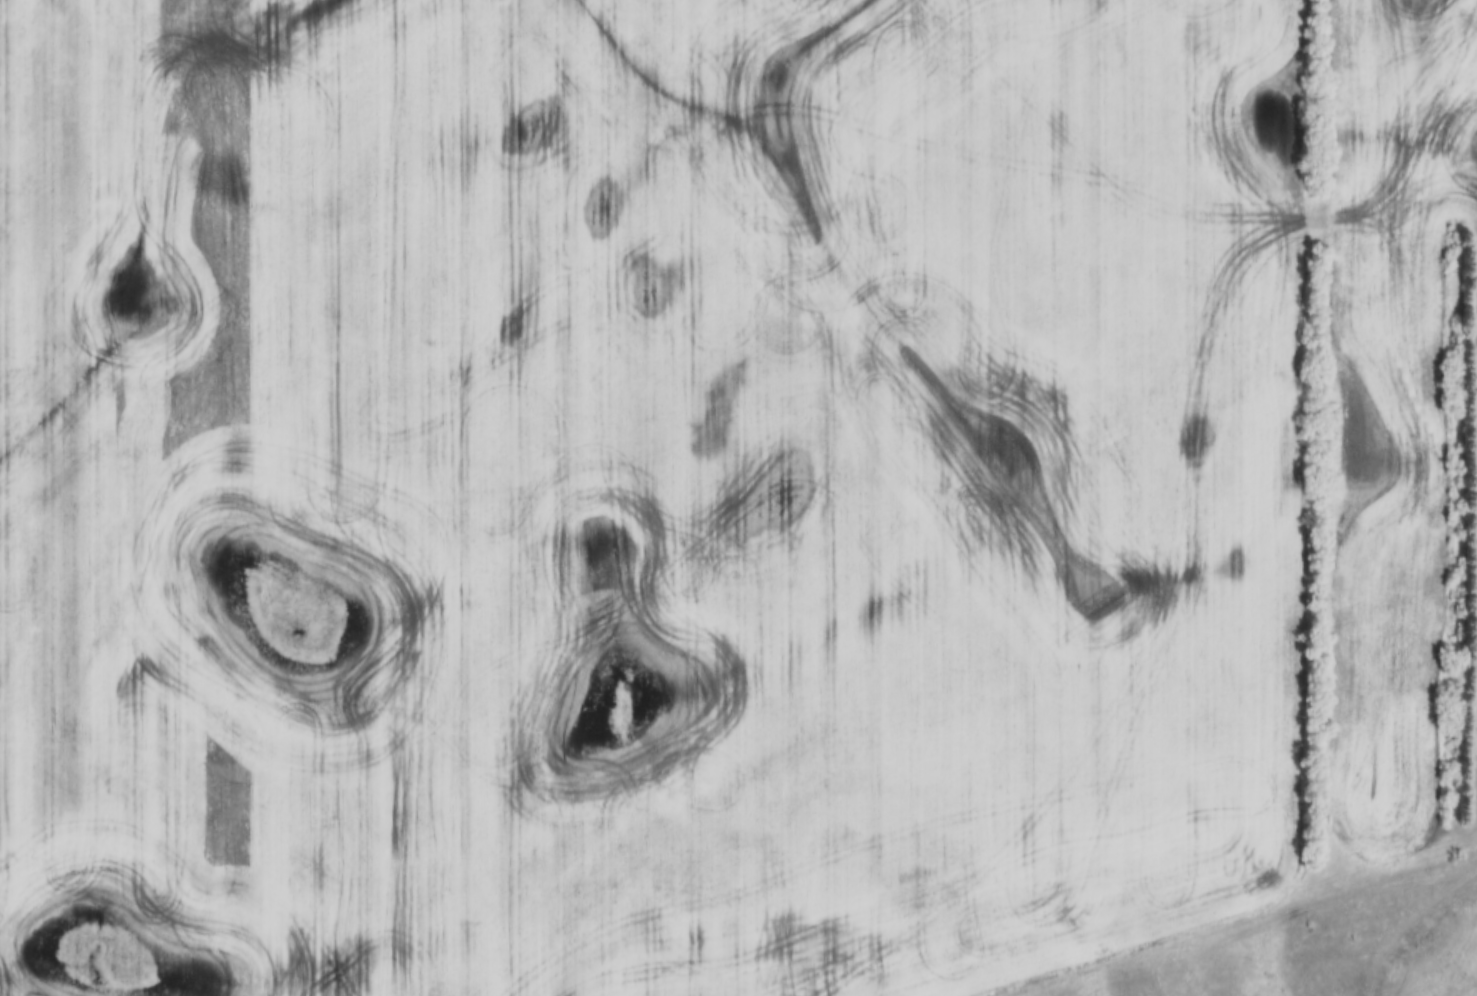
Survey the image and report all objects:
road: (1432, 956)

